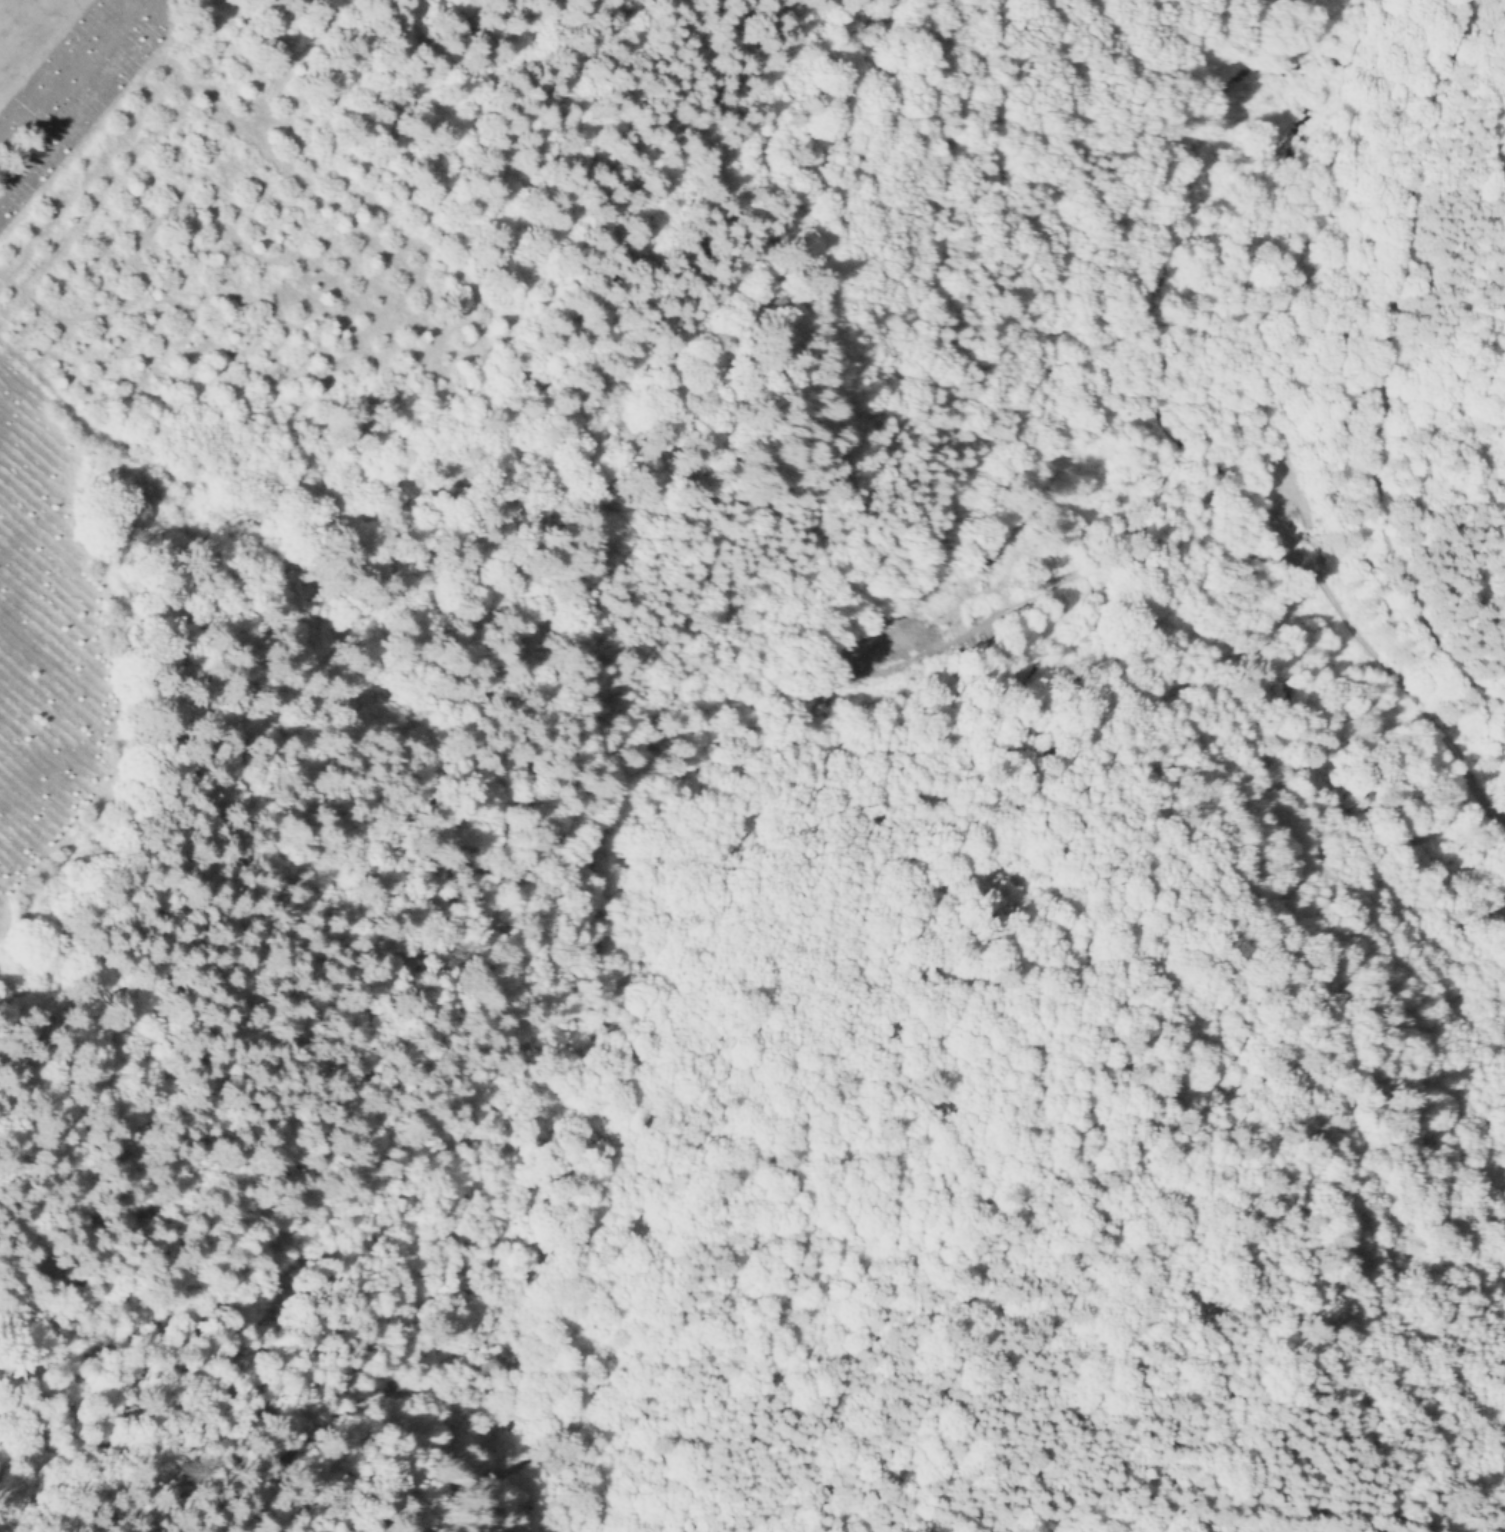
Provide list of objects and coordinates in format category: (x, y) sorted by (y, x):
crop: (206, 263)
road: (1384, 417)
building: (992, 558)

